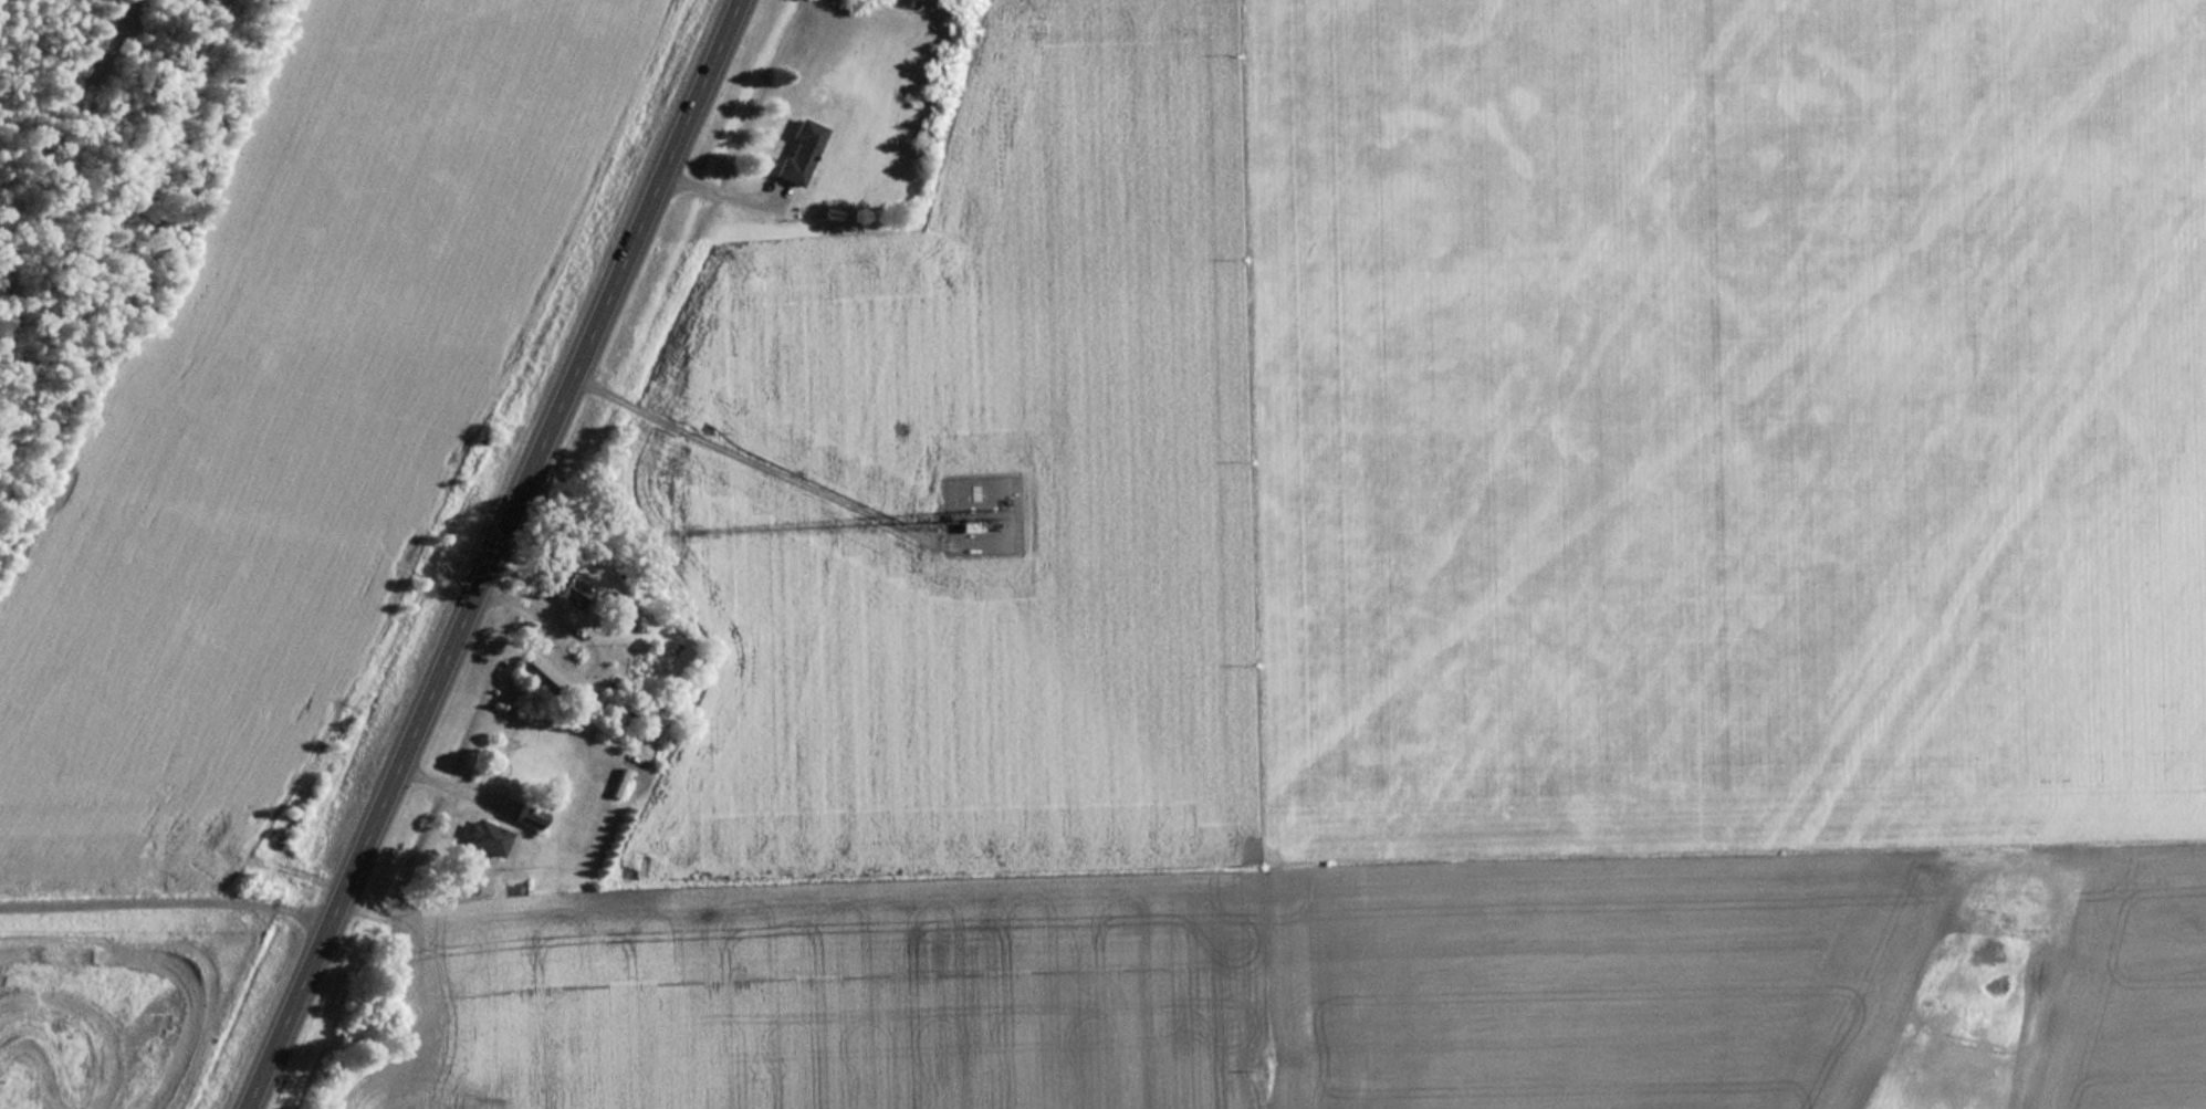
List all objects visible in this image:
building: (798, 153)
road: (494, 554)
building: (536, 674)
building: (618, 782)
building: (526, 816)
building: (485, 837)

